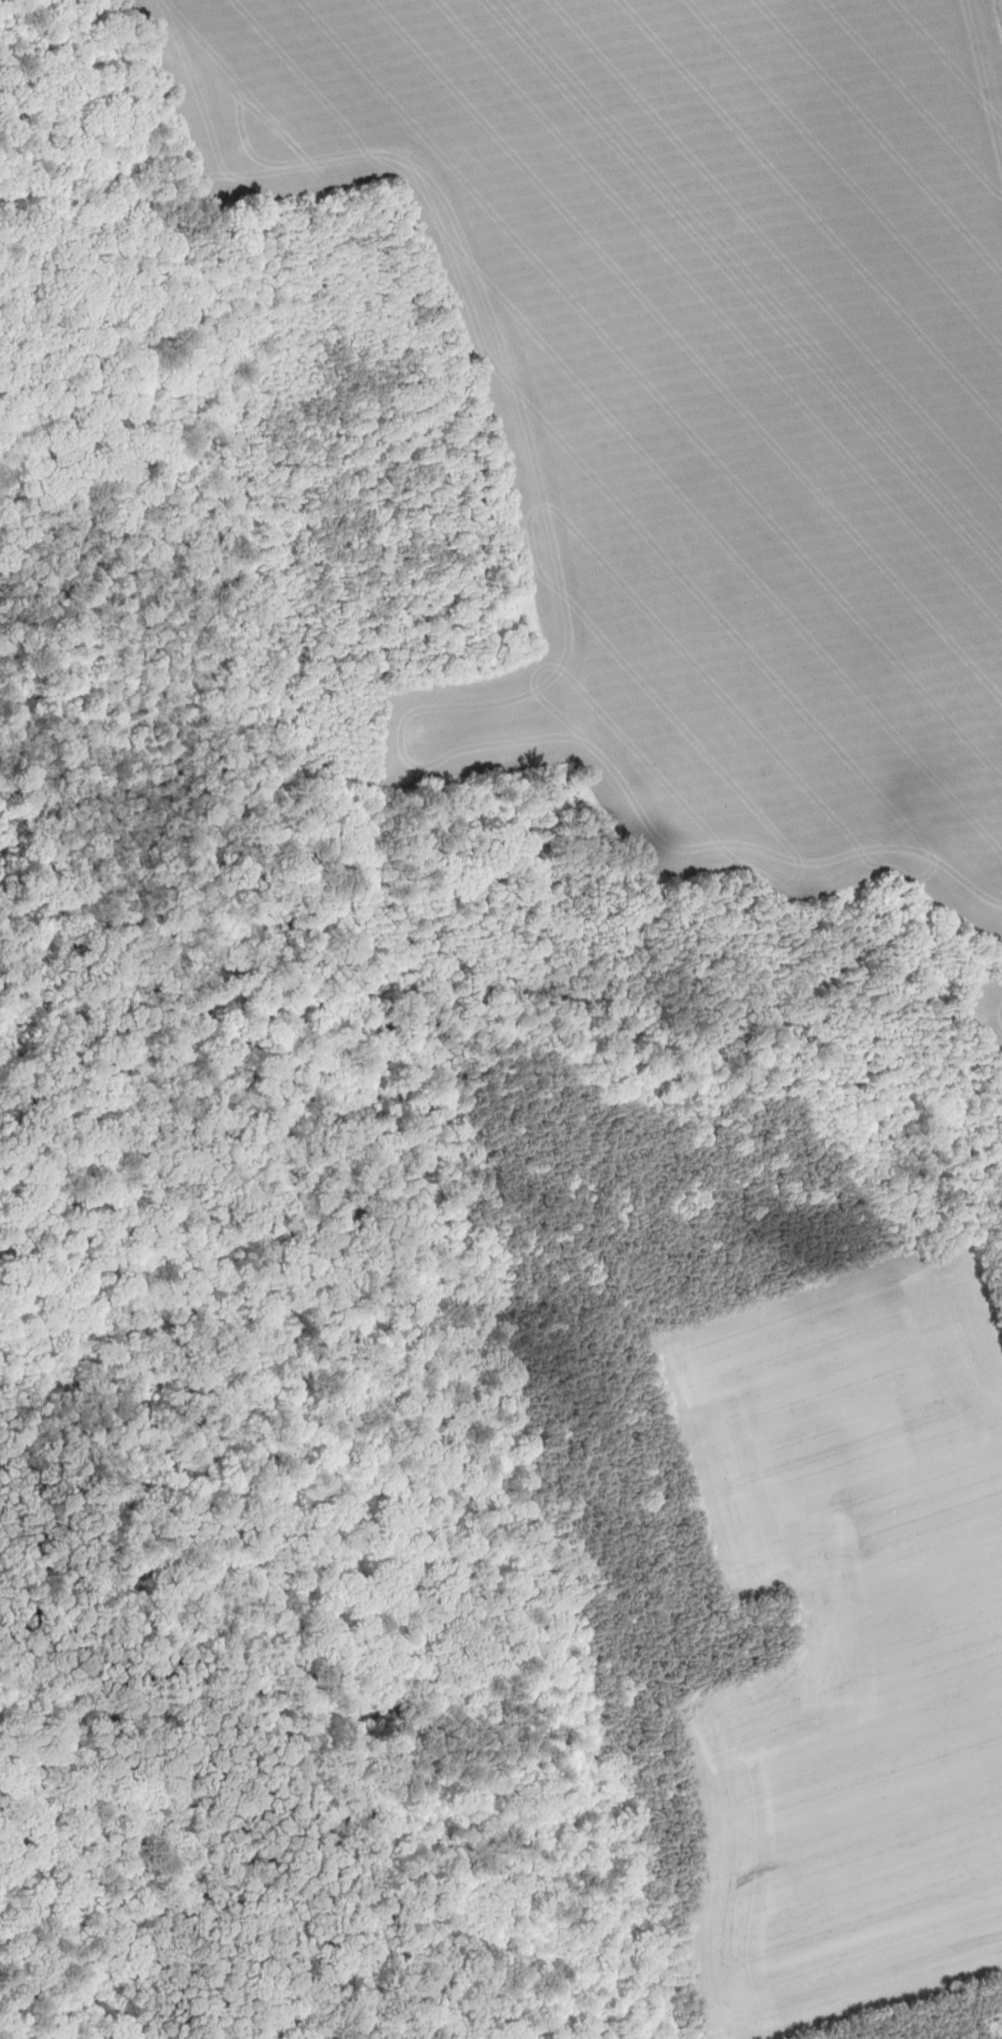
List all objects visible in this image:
park: (233, 1297)

